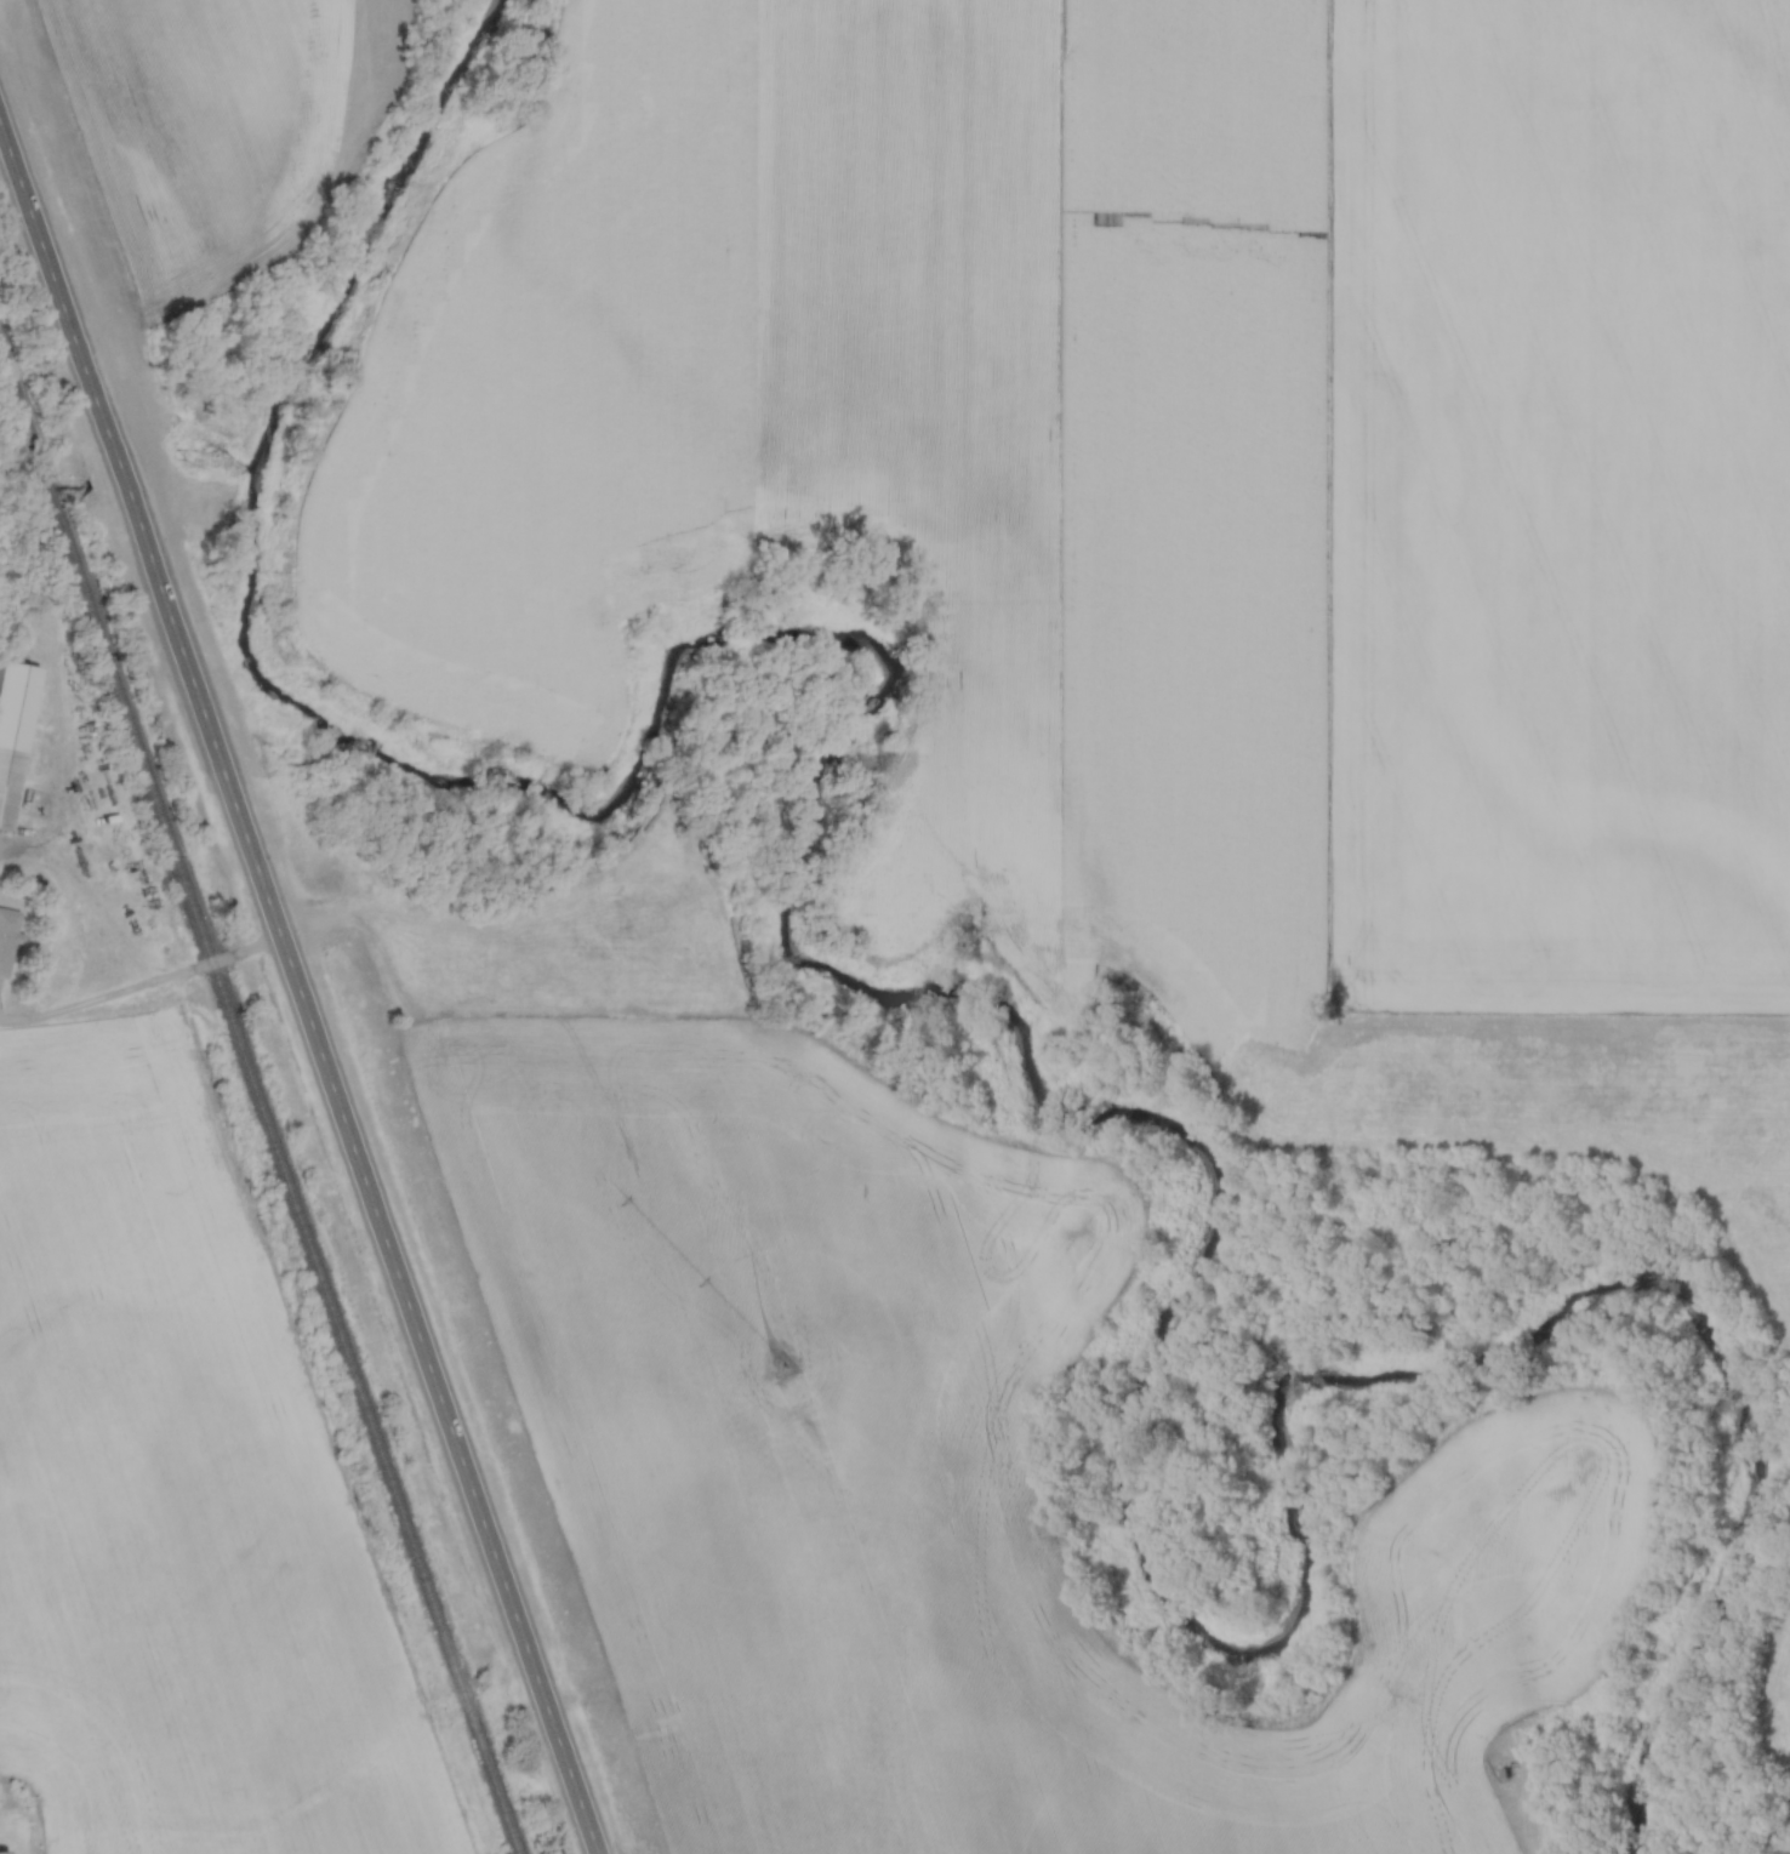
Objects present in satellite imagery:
crop: (201, 127)
building: (13, 730)
building: (6, 939)
road: (142, 981)
road: (298, 982)
river: (998, 1033)
railway: (260, 1097)
building: (4, 1853)

